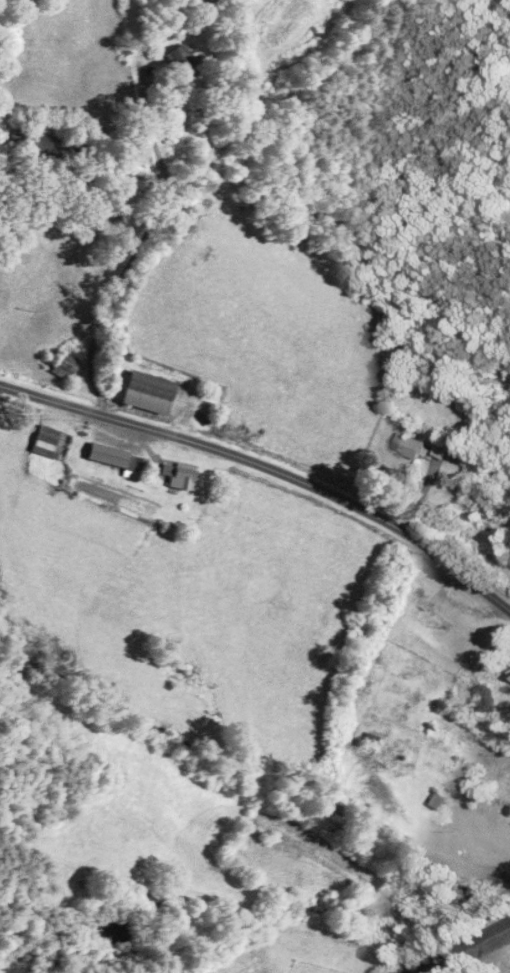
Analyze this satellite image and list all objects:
building: (181, 62)
road: (288, 109)
building: (18, 136)
building: (46, 147)
road: (143, 239)
building: (61, 366)
building: (147, 392)
building: (46, 442)
building: (408, 446)
building: (442, 449)
building: (117, 460)
road: (268, 468)
building: (178, 476)
building: (430, 614)
building: (468, 780)
building: (432, 800)
building: (149, 903)
road: (456, 946)

